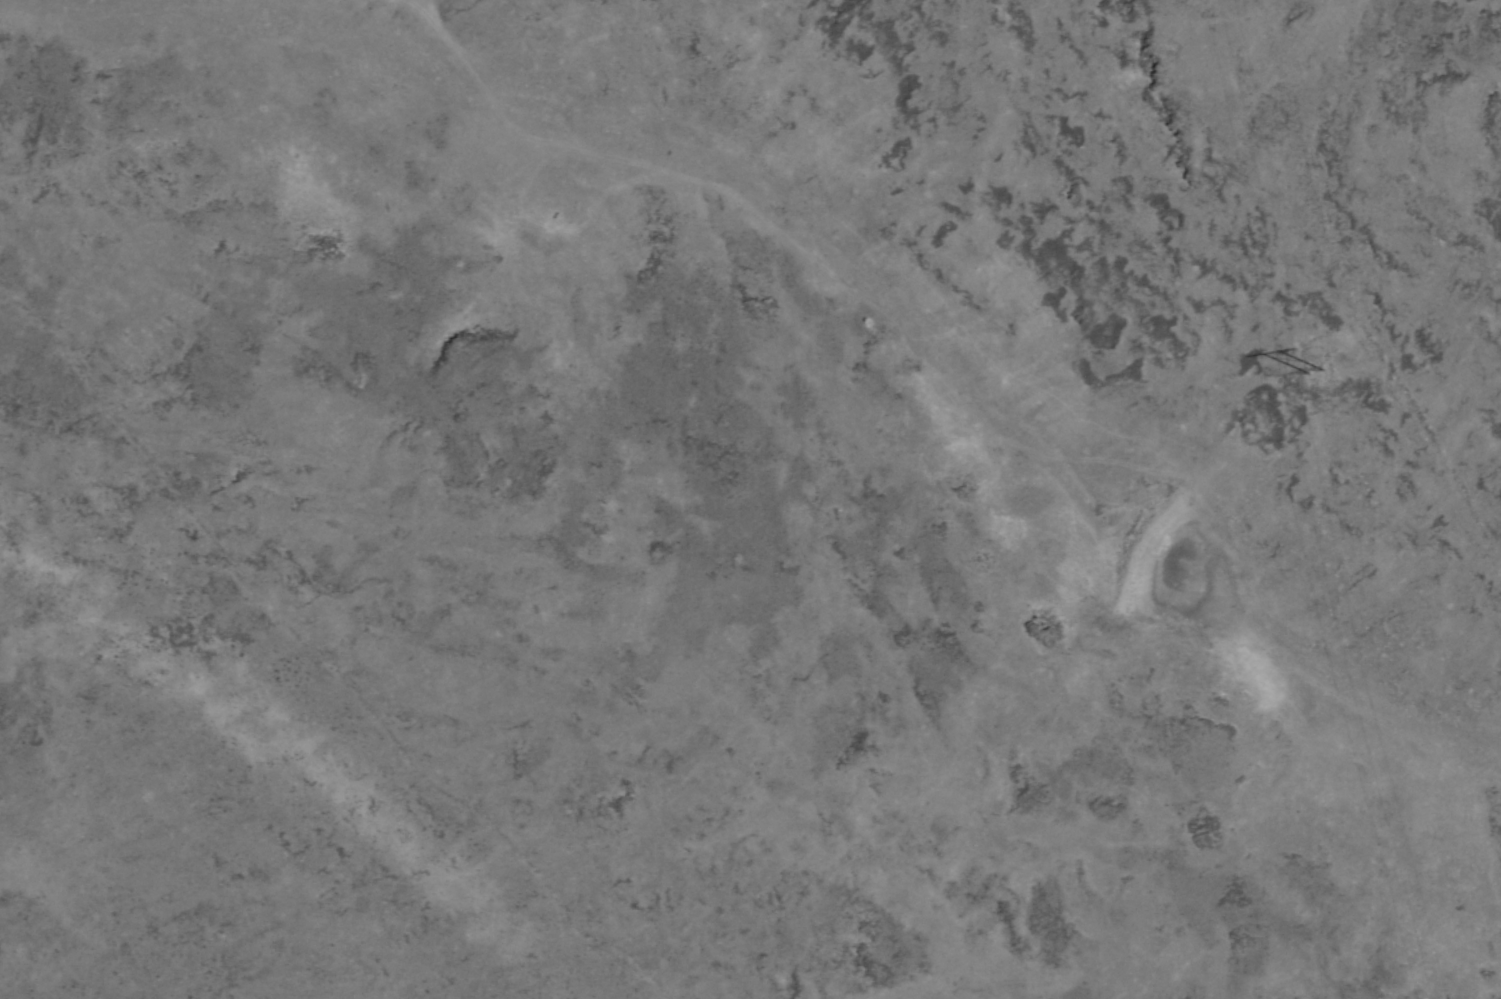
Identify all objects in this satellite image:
road: (537, 363)
power tower: (1311, 368)

